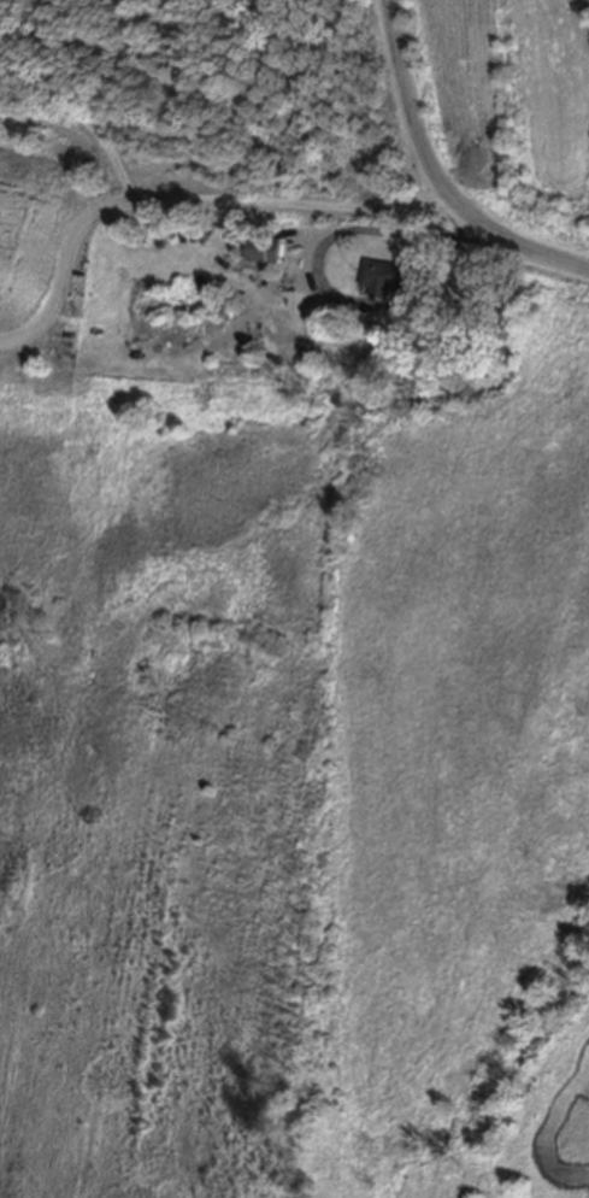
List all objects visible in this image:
road: (87, 114)
road: (432, 177)
road: (182, 198)
building: (261, 249)
building: (381, 275)
road: (324, 292)
building: (232, 370)

